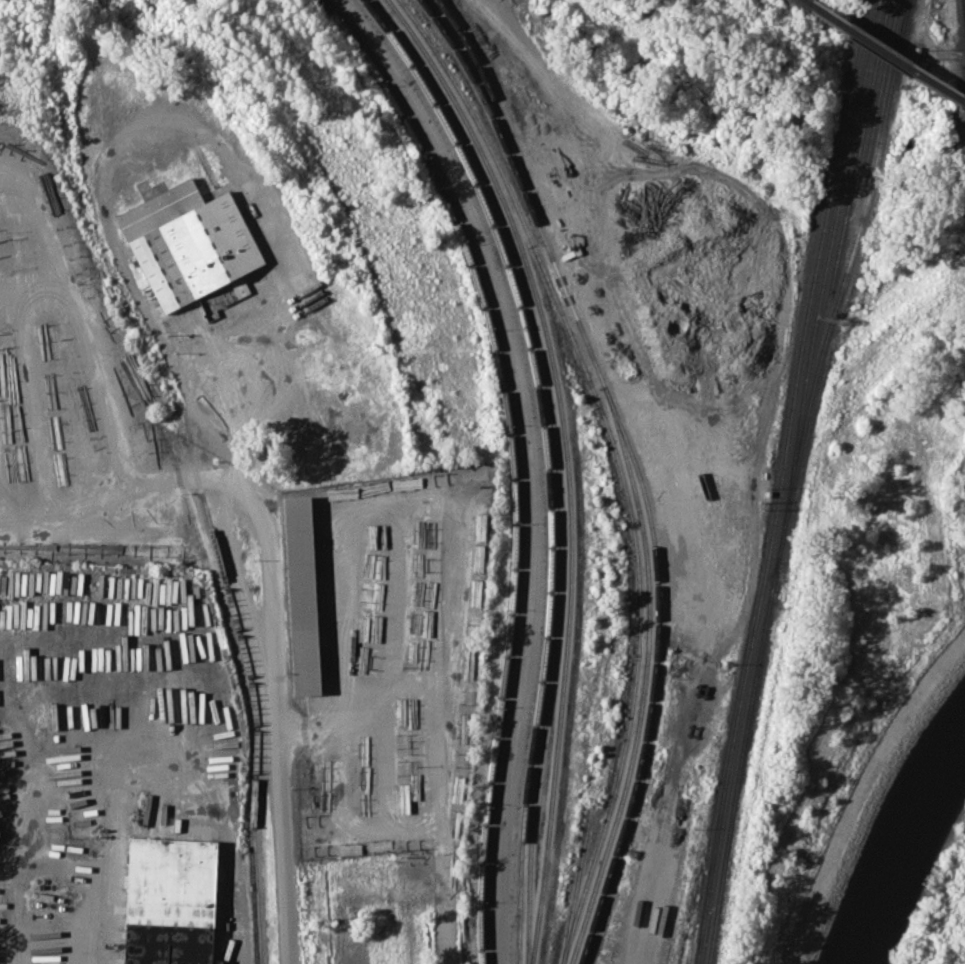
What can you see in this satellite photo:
railway: (964, 0)
railway: (805, 2)
railway: (904, 20)
railway: (885, 54)
road: (530, 60)
railway: (880, 87)
railway: (896, 88)
railway: (481, 95)
road: (167, 122)
railway: (65, 123)
railway: (860, 146)
silo: (670, 213)
building: (189, 242)
building: (698, 244)
railway: (817, 258)
railway: (827, 262)
railway: (847, 263)
building: (713, 291)
silo: (713, 291)
road: (78, 324)
road: (225, 350)
railway: (510, 459)
railway: (546, 461)
railway: (556, 462)
railway: (616, 462)
railway: (566, 463)
railway: (628, 468)
road: (175, 480)
road: (223, 481)
road: (66, 511)
railway: (214, 544)
road: (335, 557)
building: (305, 597)
railway: (767, 606)
road: (389, 663)
railway: (653, 674)
railway: (732, 740)
railway: (743, 744)
road: (165, 772)
road: (282, 811)
river: (912, 849)
railway: (576, 885)
road: (443, 891)
building: (177, 901)
railway: (690, 905)
railway: (256, 914)

